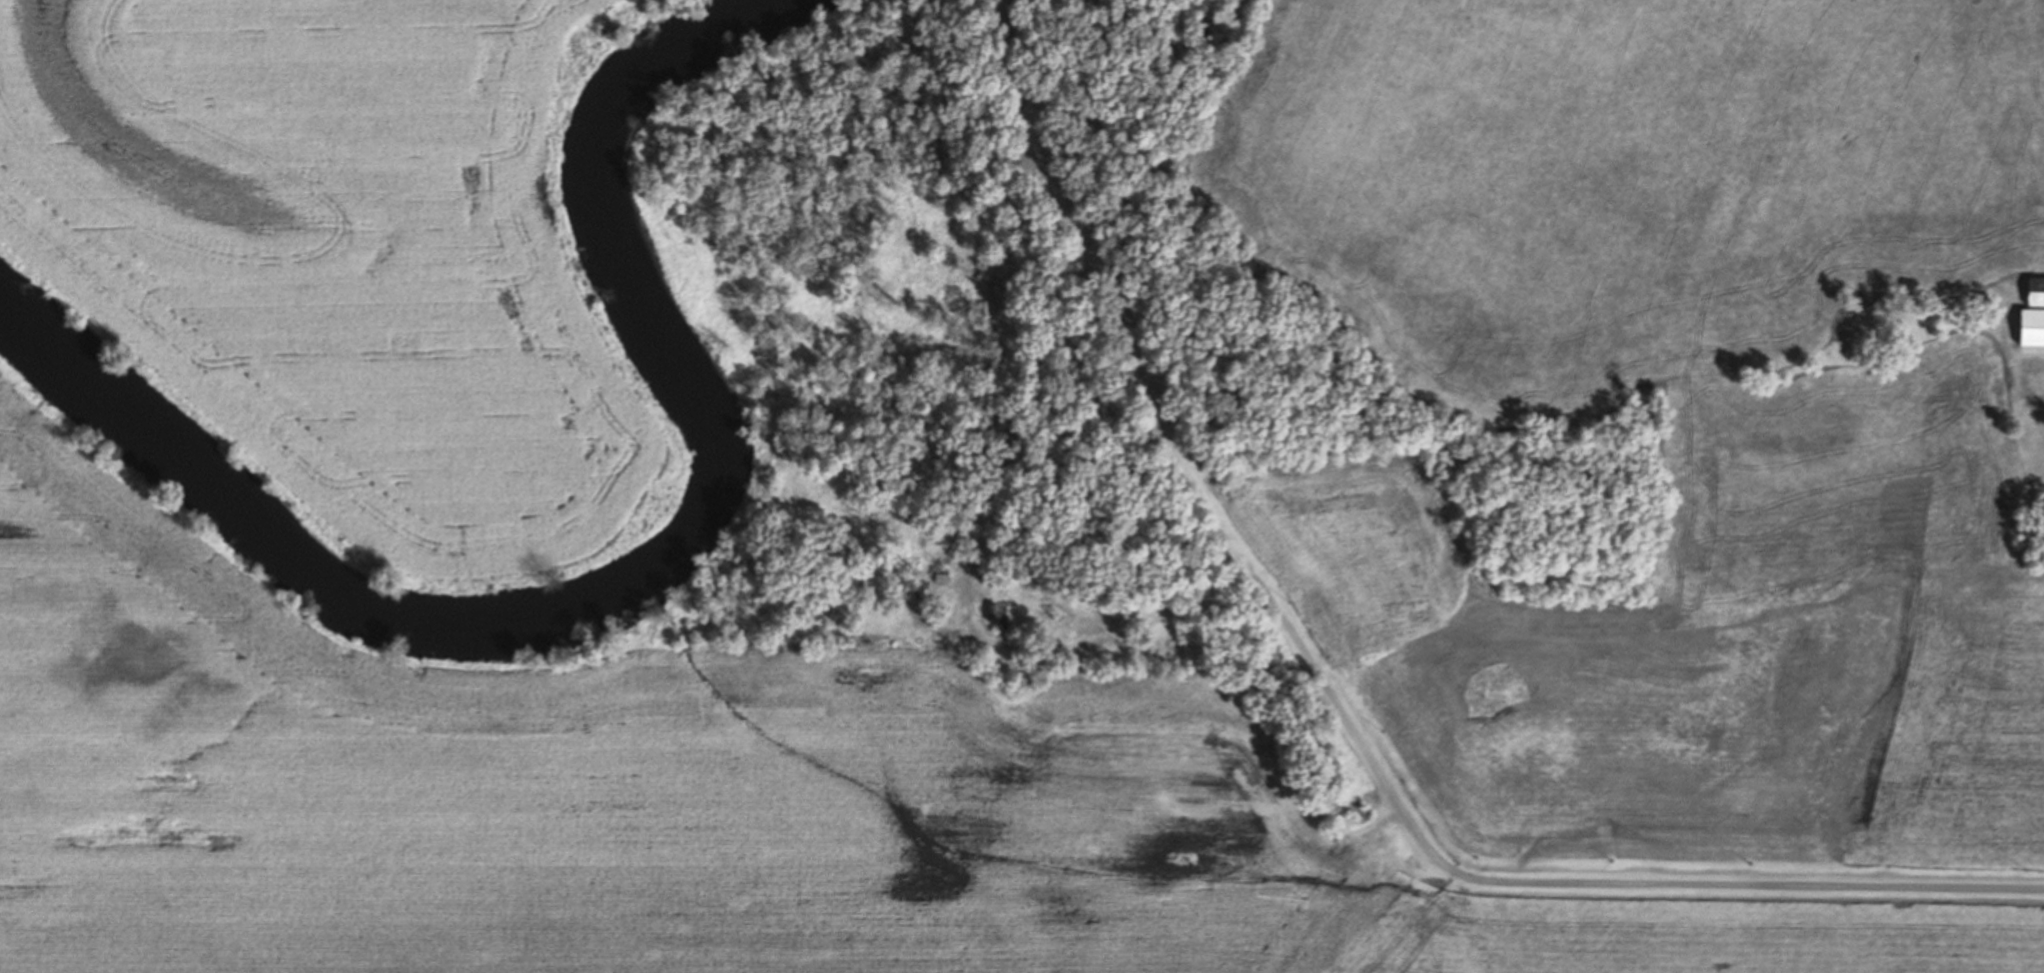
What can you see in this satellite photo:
road: (1106, 293)
building: (2035, 293)
building: (2031, 328)
building: (2040, 393)
building: (943, 577)
river: (623, 579)
building: (1006, 616)
road: (1091, 641)
road: (1567, 882)

